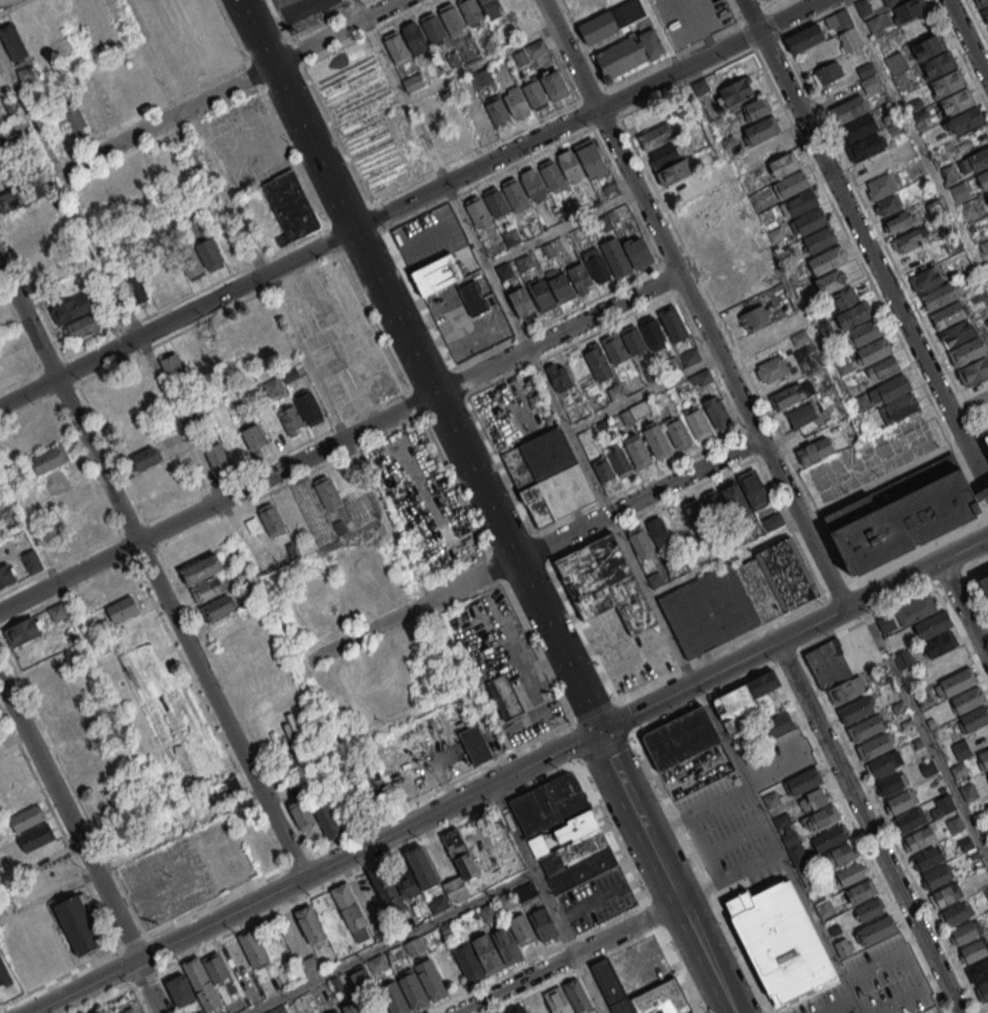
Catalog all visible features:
building: (763, 0)
road: (5, 2)
building: (890, 2)
building: (981, 2)
building: (513, 4)
road: (764, 4)
road: (774, 5)
building: (86, 6)
building: (491, 8)
building: (909, 10)
road: (736, 11)
building: (470, 12)
road: (754, 15)
building: (985, 15)
road: (750, 16)
road: (789, 16)
building: (451, 18)
parking lot: (690, 18)
building: (841, 18)
building: (612, 20)
road: (977, 21)
road: (700, 26)
building: (433, 27)
road: (729, 28)
road: (307, 30)
road: (366, 32)
road: (662, 34)
building: (414, 37)
road: (969, 37)
building: (804, 38)
road: (709, 39)
building: (849, 39)
building: (12, 42)
road: (585, 46)
building: (929, 46)
road: (691, 48)
building: (398, 49)
building: (628, 52)
road: (960, 55)
road: (674, 57)
road: (482, 62)
building: (895, 63)
building: (938, 64)
building: (827, 73)
road: (638, 74)
building: (868, 77)
building: (553, 82)
building: (947, 82)
building: (413, 83)
road: (230, 87)
building: (128, 91)
road: (604, 91)
building: (736, 91)
road: (401, 92)
building: (534, 93)
road: (592, 95)
building: (110, 100)
road: (579, 101)
building: (956, 101)
road: (613, 103)
building: (518, 105)
building: (12, 107)
building: (90, 108)
road: (562, 108)
building: (755, 108)
building: (848, 109)
building: (497, 112)
road: (586, 114)
building: (72, 117)
road: (617, 117)
building: (966, 119)
road: (605, 121)
building: (0, 123)
road: (591, 125)
road: (594, 126)
building: (857, 128)
building: (761, 129)
building: (461, 130)
building: (2, 139)
building: (440, 139)
road: (558, 143)
building: (660, 145)
building: (865, 147)
building: (590, 154)
building: (979, 158)
building: (783, 164)
building: (191, 165)
building: (570, 165)
road: (351, 167)
road: (441, 169)
building: (915, 170)
building: (673, 172)
building: (949, 173)
building: (551, 175)
building: (983, 179)
building: (535, 184)
building: (129, 186)
building: (959, 191)
building: (515, 194)
building: (794, 194)
building: (884, 194)
road: (454, 195)
building: (986, 195)
road: (626, 196)
building: (15, 197)
building: (495, 201)
road: (370, 205)
building: (291, 206)
building: (966, 210)
building: (477, 211)
road: (417, 214)
building: (24, 217)
road: (377, 217)
road: (378, 218)
building: (897, 221)
building: (809, 222)
road: (564, 227)
building: (511, 237)
building: (819, 239)
building: (911, 239)
building: (210, 255)
building: (616, 255)
road: (873, 256)
building: (827, 259)
building: (596, 262)
building: (191, 264)
building: (439, 274)
road: (110, 276)
building: (579, 276)
building: (925, 278)
building: (560, 282)
building: (830, 282)
building: (135, 289)
building: (541, 293)
building: (474, 296)
building: (938, 296)
road: (418, 298)
road: (590, 300)
building: (523, 301)
road: (698, 303)
building: (71, 308)
building: (947, 314)
building: (853, 315)
building: (753, 316)
road: (401, 318)
building: (266, 320)
building: (674, 321)
building: (81, 327)
building: (246, 330)
road: (560, 331)
building: (652, 332)
building: (865, 332)
building: (956, 333)
building: (759, 339)
building: (633, 340)
road: (735, 348)
building: (615, 349)
building: (874, 350)
building: (211, 351)
building: (965, 351)
building: (689, 356)
building: (598, 361)
building: (8, 364)
building: (173, 365)
building: (844, 365)
building: (772, 368)
building: (882, 368)
building: (974, 371)
building: (649, 374)
building: (558, 376)
building: (701, 378)
building: (273, 386)
building: (892, 388)
building: (615, 391)
road: (646, 392)
road: (968, 395)
building: (787, 396)
building: (899, 408)
building: (718, 411)
building: (635, 412)
building: (301, 413)
building: (801, 415)
building: (698, 421)
building: (678, 431)
road: (570, 434)
building: (986, 436)
building: (42, 438)
building: (135, 439)
building: (658, 440)
building: (245, 443)
building: (813, 450)
building: (638, 451)
building: (216, 456)
building: (145, 457)
building: (49, 459)
building: (621, 461)
building: (603, 470)
building: (62, 475)
building: (18, 476)
building: (151, 477)
building: (549, 477)
road: (987, 482)
building: (327, 493)
building: (69, 495)
building: (746, 499)
road: (218, 502)
building: (696, 512)
building: (902, 515)
building: (272, 520)
building: (677, 522)
building: (85, 523)
building: (658, 531)
building: (640, 542)
road: (532, 548)
road: (917, 552)
building: (31, 561)
road: (975, 565)
building: (201, 569)
road: (151, 573)
building: (6, 575)
building: (605, 582)
building: (984, 582)
road: (968, 583)
building: (116, 588)
building: (208, 589)
road: (837, 592)
road: (920, 592)
building: (739, 596)
building: (217, 607)
building: (122, 608)
building: (56, 611)
road: (963, 611)
road: (283, 623)
building: (928, 624)
building: (23, 631)
road: (92, 645)
road: (724, 647)
building: (44, 670)
building: (957, 680)
road: (579, 683)
building: (56, 688)
building: (846, 690)
building: (504, 697)
building: (968, 699)
building: (746, 702)
building: (854, 709)
road: (577, 718)
building: (972, 719)
building: (72, 725)
building: (865, 728)
building: (766, 731)
road: (923, 731)
traffic signals: (597, 732)
building: (680, 738)
road: (623, 740)
building: (475, 744)
building: (873, 746)
road: (563, 748)
building: (961, 749)
building: (983, 759)
building: (883, 763)
road: (827, 769)
building: (987, 771)
building: (987, 774)
road: (618, 776)
building: (802, 780)
building: (372, 781)
building: (892, 782)
building: (289, 789)
building: (968, 791)
building: (771, 799)
building: (813, 799)
building: (902, 801)
road: (236, 803)
building: (945, 804)
road: (697, 810)
road: (69, 814)
building: (301, 814)
building: (29, 817)
building: (820, 817)
road: (883, 819)
building: (910, 819)
road: (870, 827)
road: (360, 828)
building: (563, 832)
building: (39, 835)
parking lot: (730, 835)
building: (828, 838)
building: (920, 838)
road: (778, 847)
building: (461, 854)
building: (797, 854)
building: (838, 855)
building: (929, 856)
building: (803, 871)
building: (415, 873)
road: (703, 874)
building: (850, 874)
building: (939, 875)
road: (346, 878)
road: (637, 888)
building: (385, 889)
building: (861, 892)
building: (948, 894)
road: (546, 899)
building: (507, 900)
parking lot: (598, 900)
building: (824, 908)
building: (870, 909)
building: (351, 913)
building: (488, 913)
building: (958, 913)
road: (687, 916)
building: (531, 917)
building: (311, 923)
building: (79, 926)
building: (877, 929)
building: (966, 931)
road: (134, 941)
building: (782, 941)
road: (390, 942)
building: (509, 944)
building: (414, 947)
building: (843, 947)
building: (253, 949)
building: (975, 949)
building: (490, 952)
road: (153, 954)
road: (568, 957)
road: (535, 958)
building: (470, 961)
building: (377, 965)
building: (308, 967)
road: (574, 971)
building: (978, 971)
building: (4, 976)
road: (60, 976)
building: (359, 978)
road: (146, 979)
building: (207, 979)
building: (432, 979)
road: (149, 984)
road: (82, 985)
building: (414, 989)
building: (984, 989)
building: (180, 990)
road: (120, 992)
building: (643, 994)
building: (580, 995)
building: (395, 997)
building: (559, 1000)
parking lot: (828, 1003)
road: (836, 1005)
building: (355, 1006)
building: (129, 1010)
building: (279, 1010)
building: (518, 1010)
building: (103, 1011)
building: (336, 1011)
building: (201, 1012)
building: (503, 1012)

